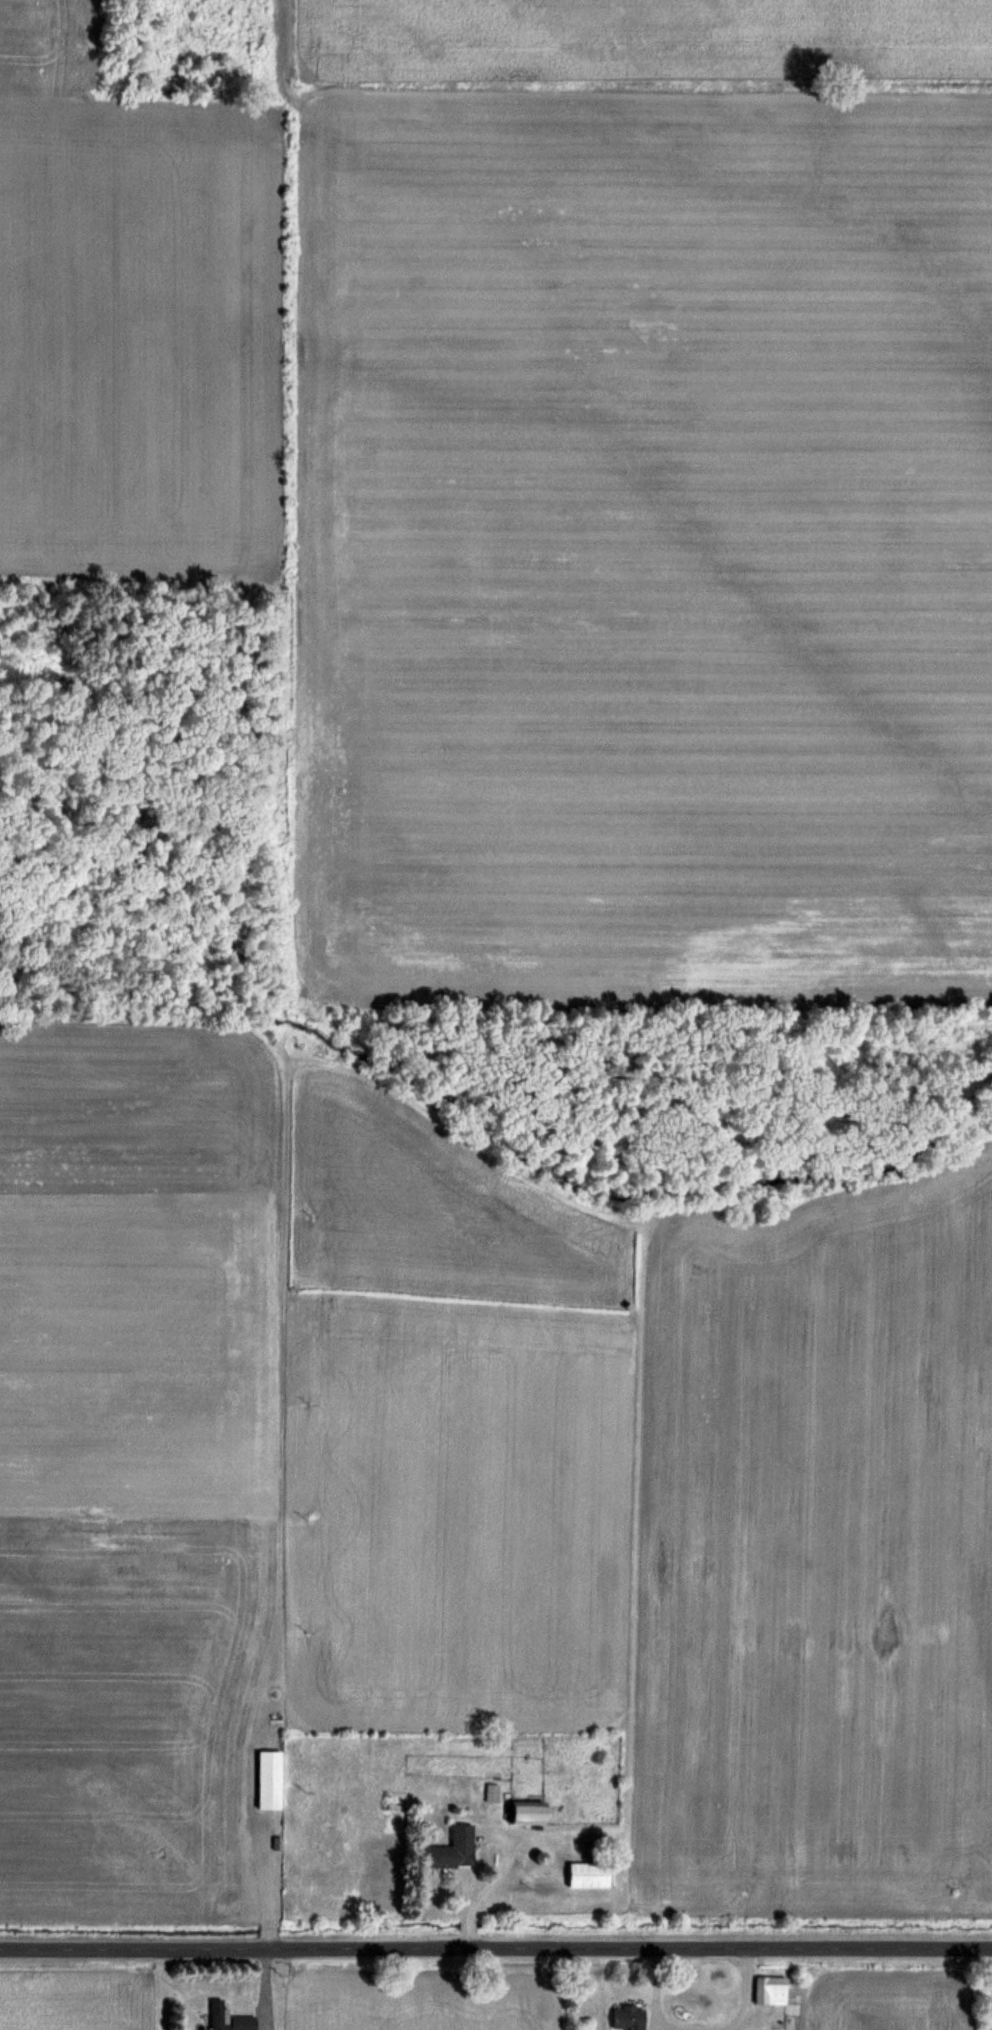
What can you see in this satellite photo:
building: (270, 1779)
building: (492, 1793)
building: (529, 1813)
building: (453, 1850)
building: (589, 1875)
road: (496, 1946)
building: (771, 1990)
building: (229, 2018)
building: (629, 2018)

